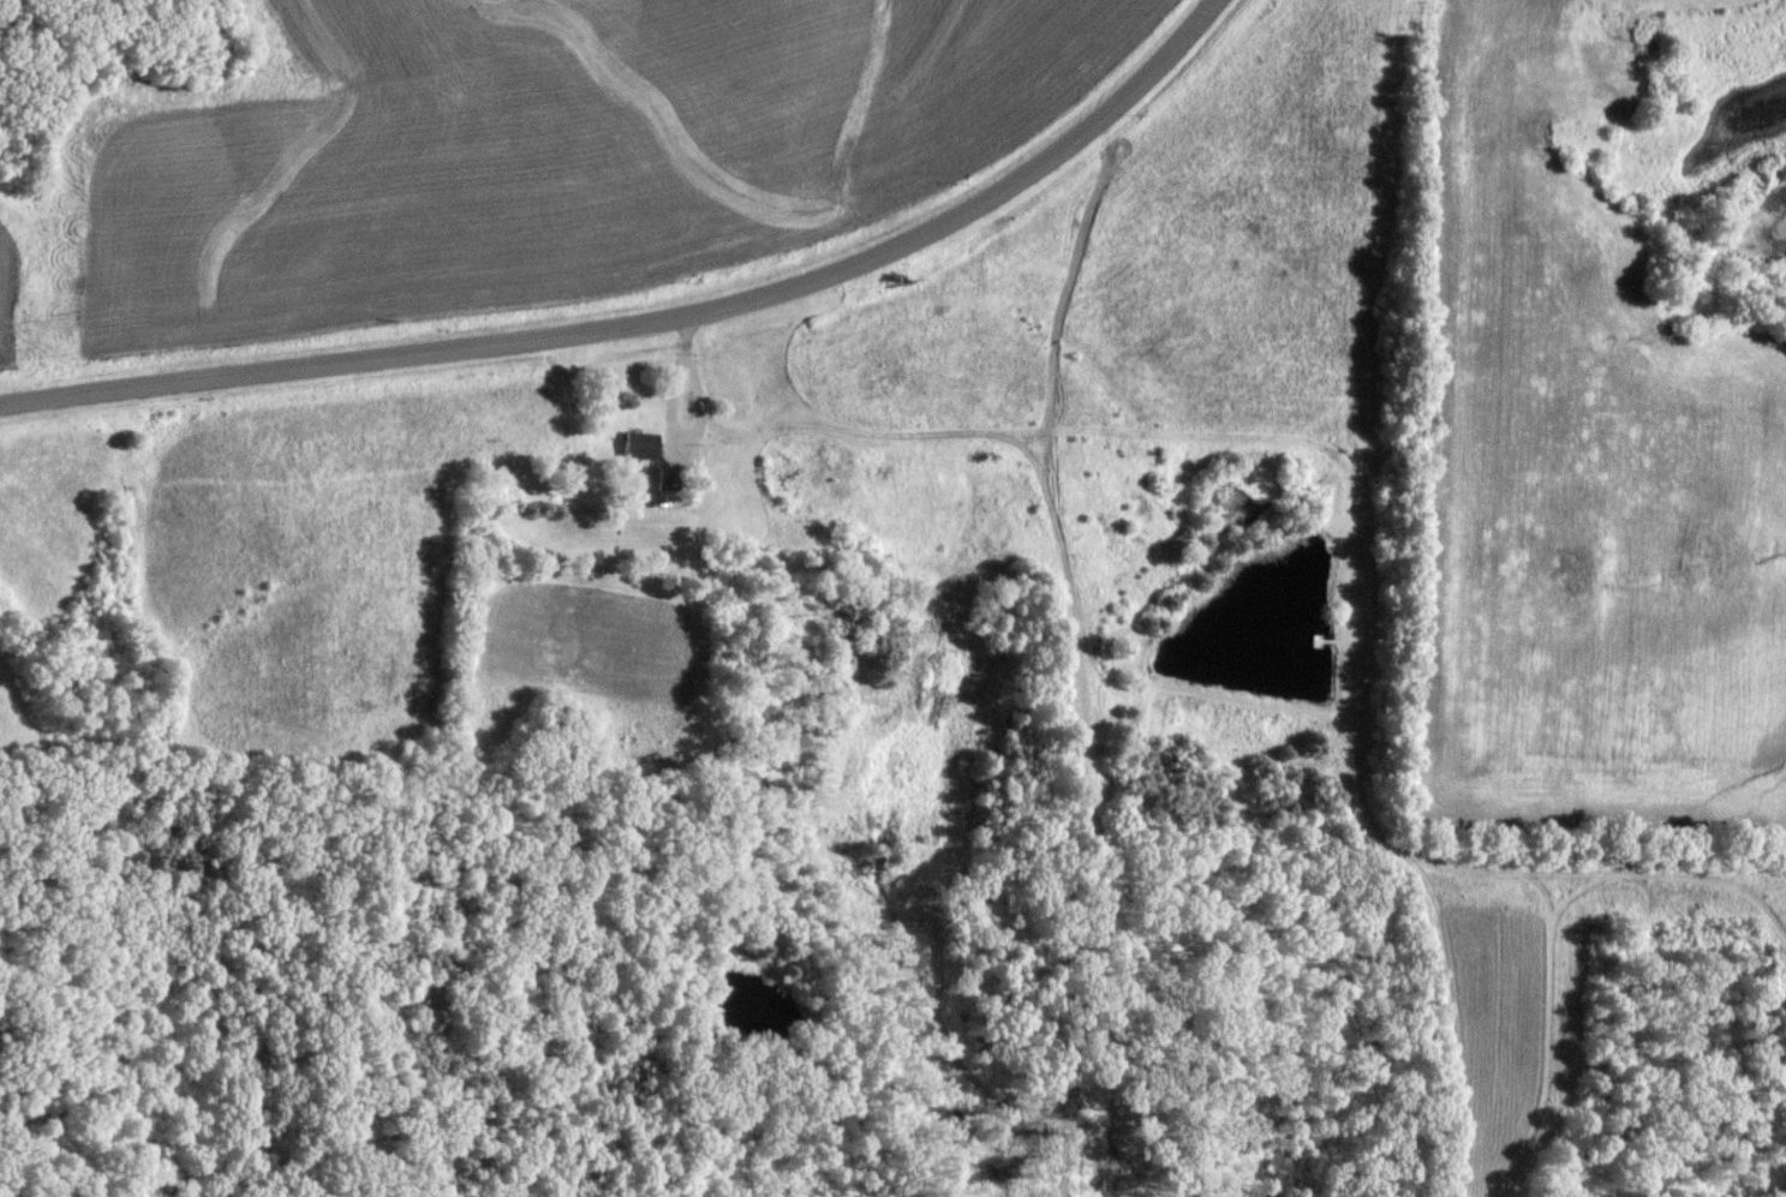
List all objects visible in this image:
road: (652, 317)
road: (688, 336)
road: (700, 419)
building: (640, 447)

